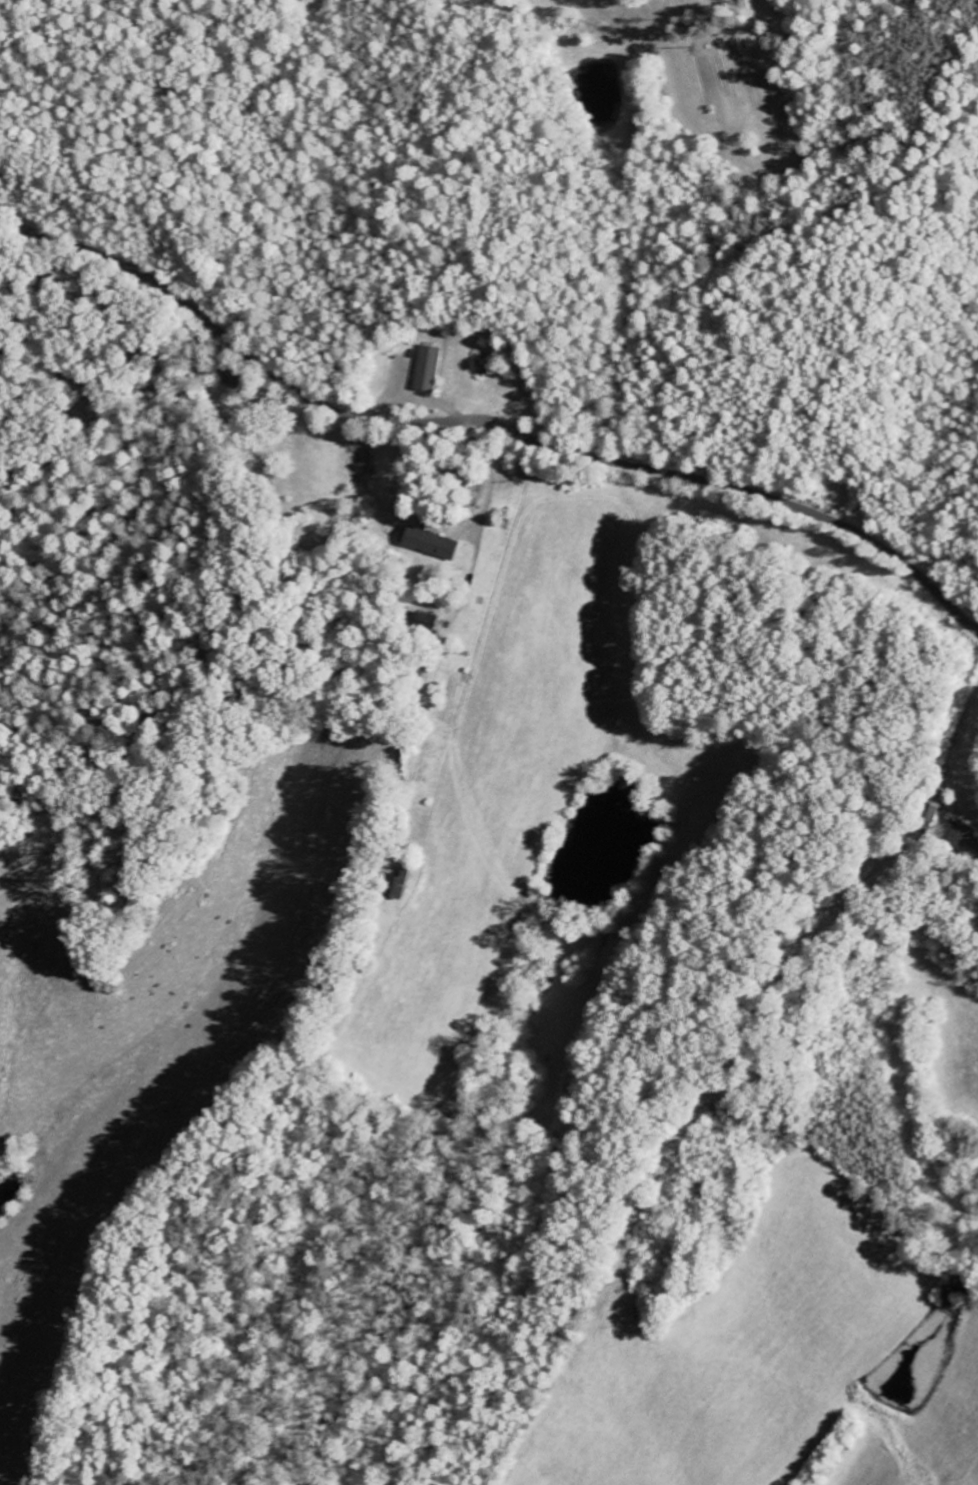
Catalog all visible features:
building: (427, 369)
road: (485, 418)
road: (472, 483)
building: (428, 543)

